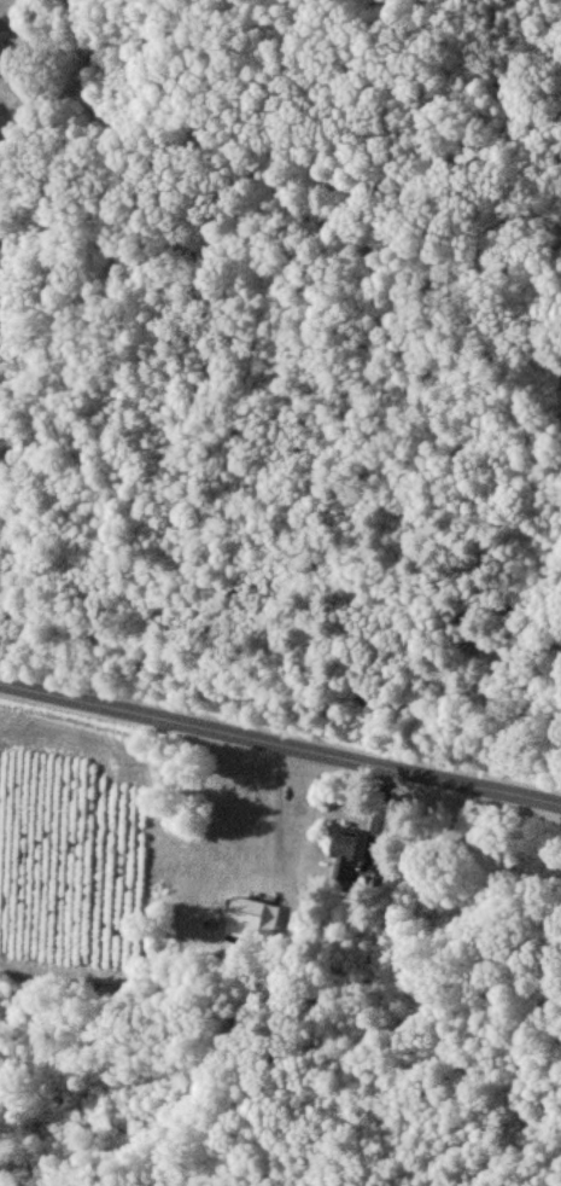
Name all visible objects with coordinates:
road: (280, 678)
road: (280, 744)
building: (344, 851)
building: (253, 918)

